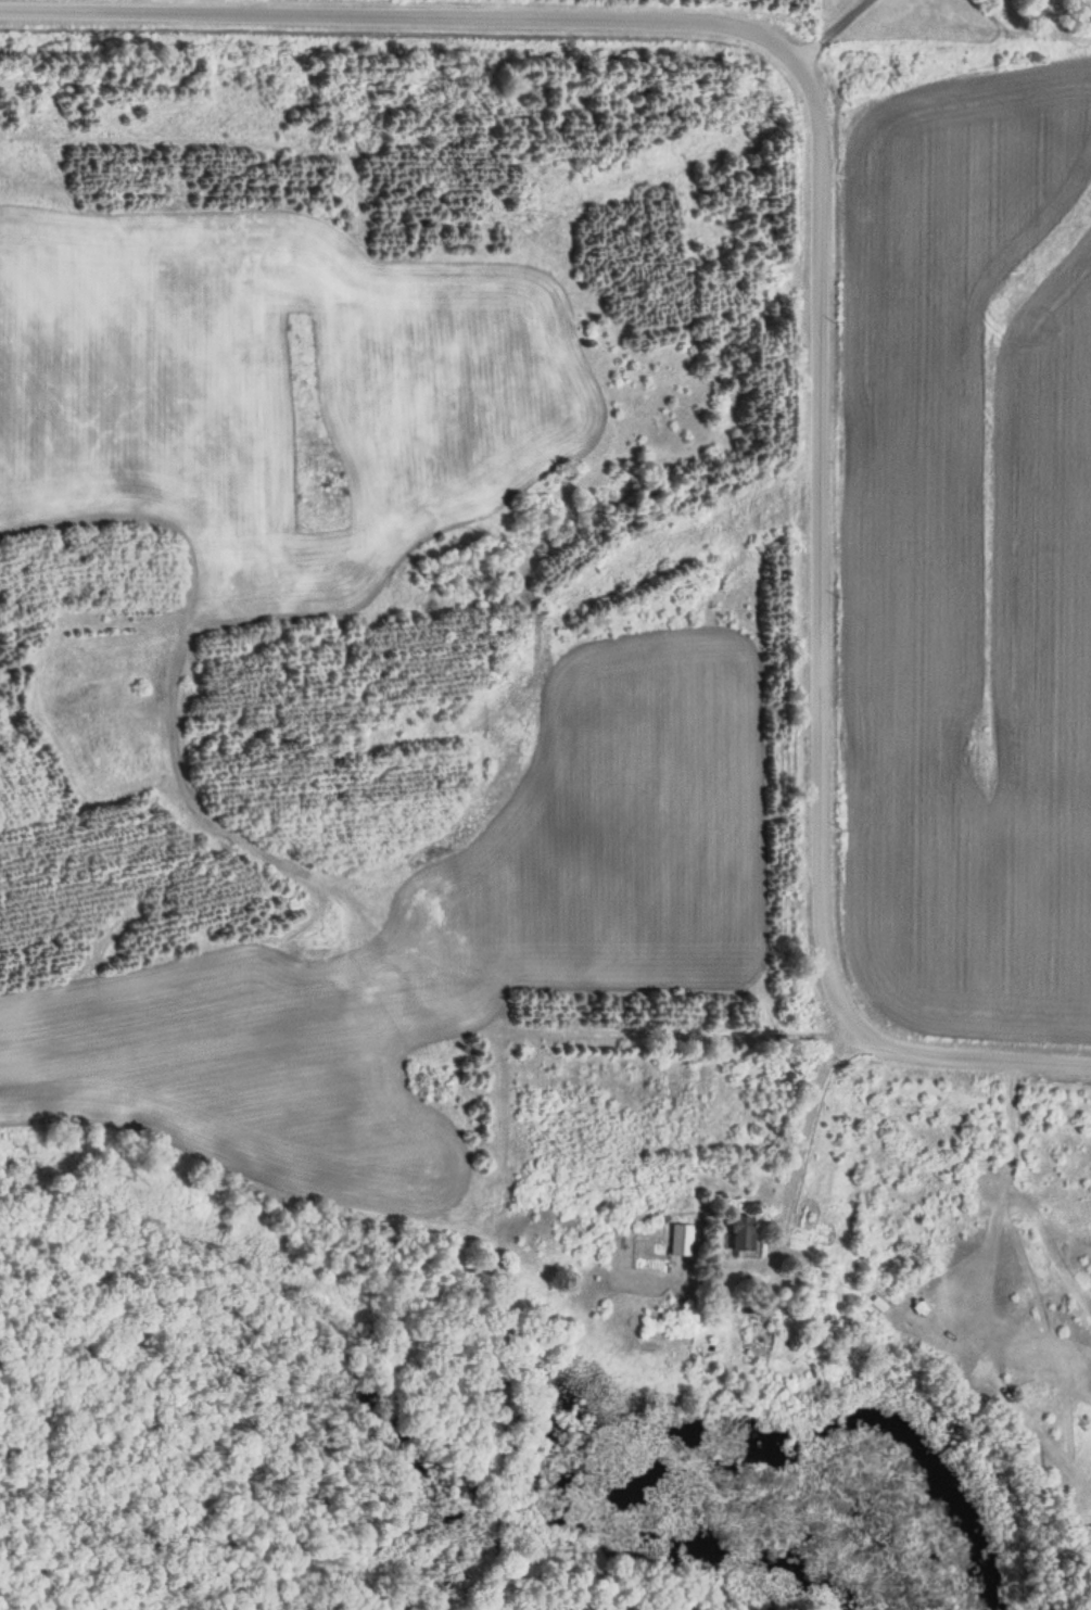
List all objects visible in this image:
road: (399, 17)
road: (819, 535)
road: (964, 1057)
building: (740, 1232)
building: (678, 1239)

